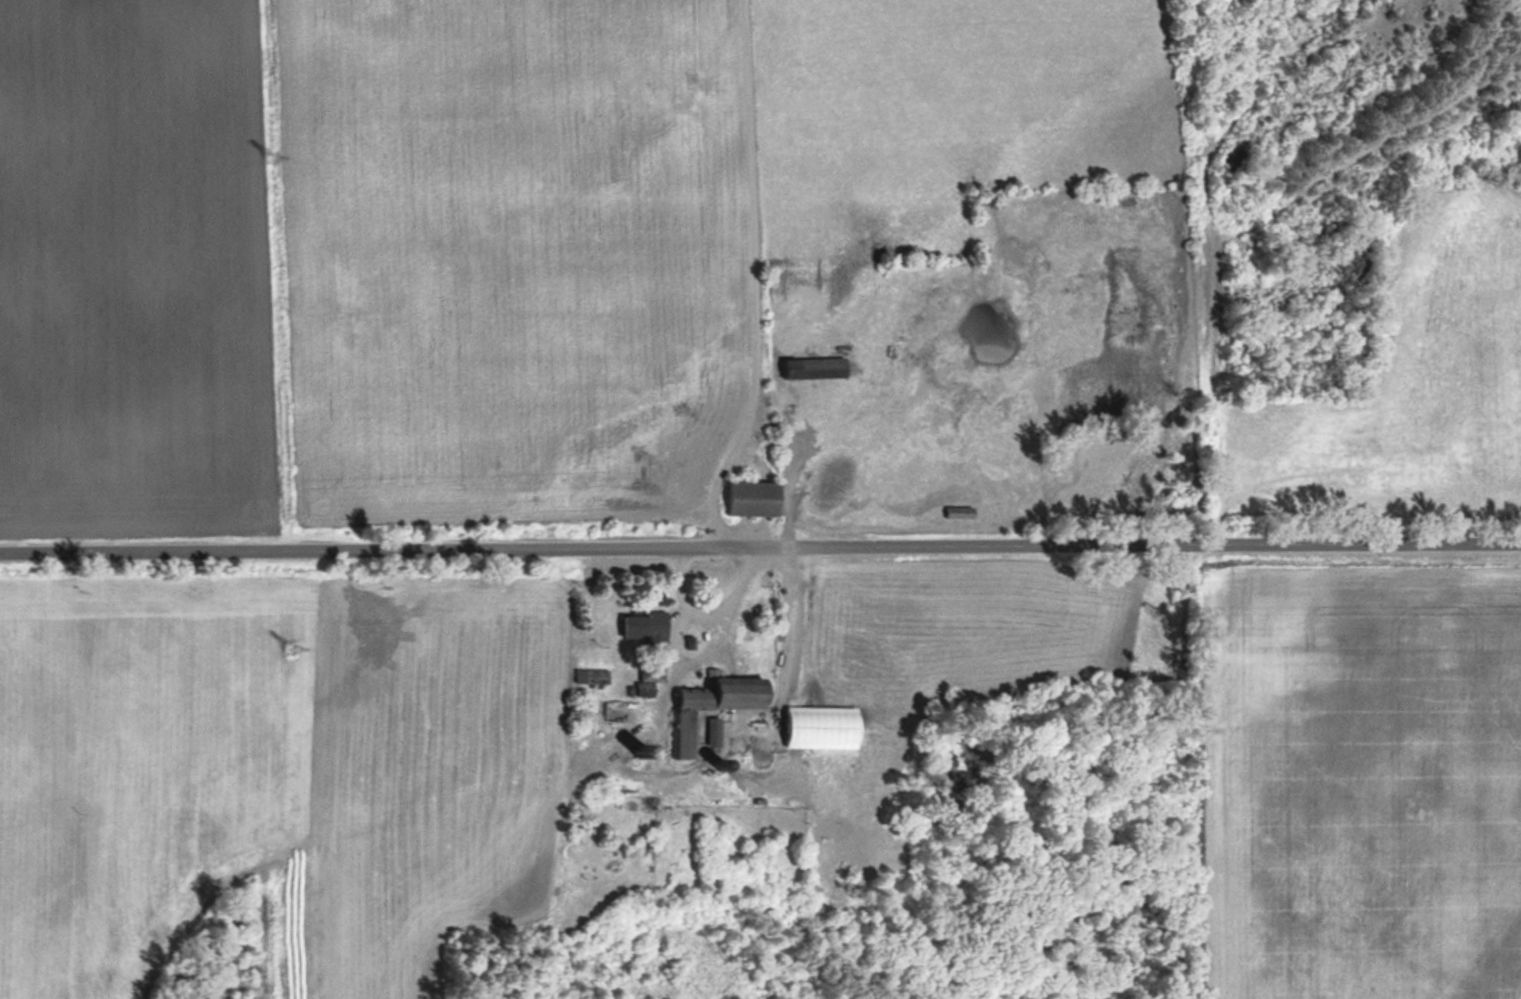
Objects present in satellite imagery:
power tower: (270, 155)
building: (816, 366)
building: (754, 496)
building: (960, 510)
road: (760, 553)
road: (707, 613)
building: (645, 628)
power tower: (296, 649)
building: (714, 703)
building: (823, 726)
building: (715, 734)

